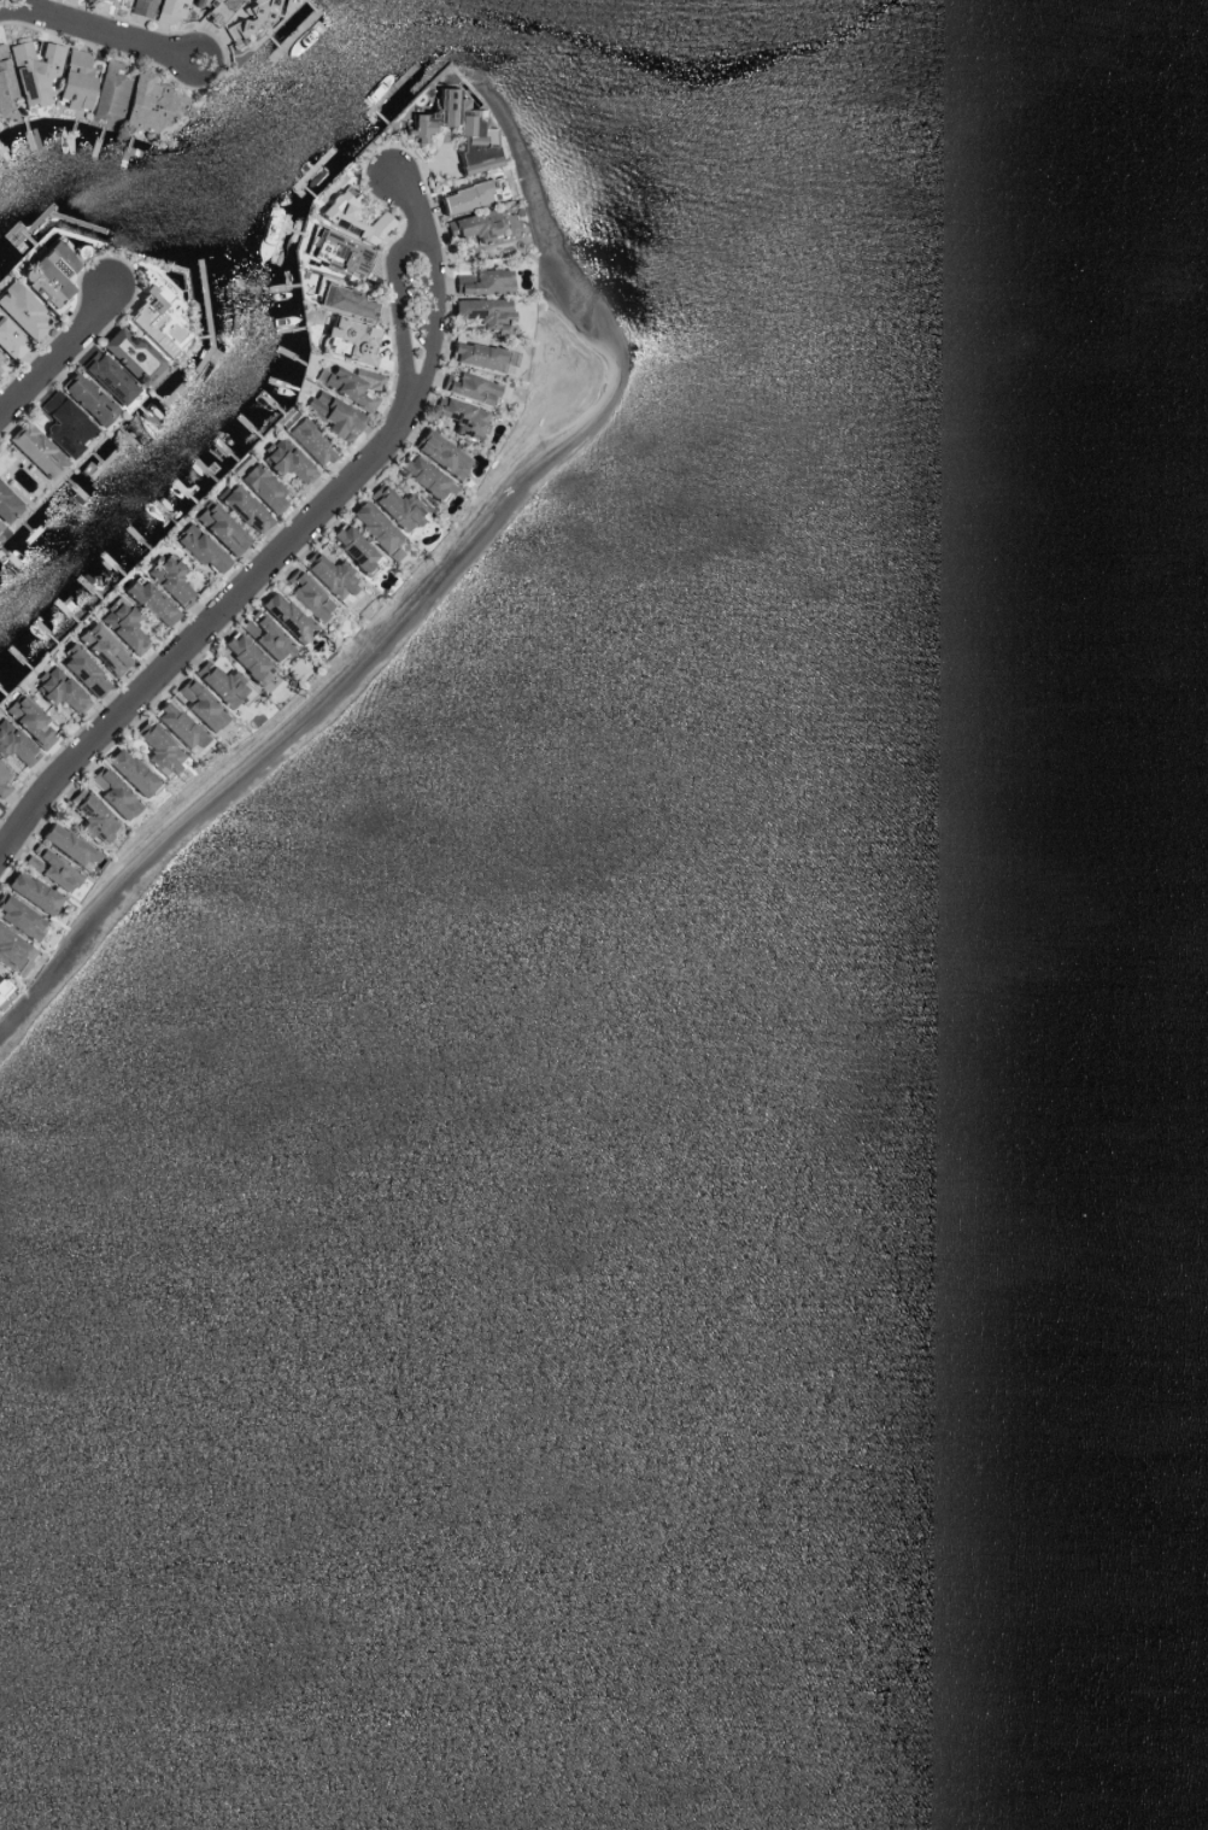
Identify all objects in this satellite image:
building: (111, 0)
building: (140, 7)
building: (213, 7)
building: (169, 10)
road: (101, 29)
building: (33, 70)
building: (72, 78)
building: (4, 86)
building: (105, 90)
building: (149, 102)
building: (468, 125)
building: (469, 193)
building: (332, 213)
building: (473, 225)
building: (335, 252)
building: (46, 272)
building: (482, 281)
building: (344, 300)
building: (20, 310)
building: (481, 310)
building: (153, 315)
building: (347, 339)
building: (8, 341)
building: (128, 354)
building: (0, 356)
road: (60, 358)
building: (105, 377)
building: (351, 385)
building: (468, 386)
building: (84, 398)
building: (332, 413)
building: (461, 416)
building: (63, 423)
building: (306, 441)
building: (33, 448)
building: (439, 452)
building: (285, 461)
building: (421, 475)
building: (259, 486)
building: (6, 505)
building: (395, 506)
building: (241, 508)
building: (370, 524)
building: (218, 528)
building: (197, 546)
building: (350, 546)
road: (292, 547)
building: (329, 576)
building: (166, 577)
building: (305, 594)
building: (148, 602)
building: (283, 616)
building: (121, 624)
building: (260, 635)
building: (100, 647)
building: (242, 656)
building: (80, 669)
building: (218, 682)
building: (57, 690)
building: (199, 705)
building: (27, 721)
building: (175, 725)
building: (13, 744)
building: (157, 749)
building: (127, 772)
building: (2, 784)
building: (111, 792)
building: (89, 816)
building: (65, 845)
building: (28, 891)
building: (19, 917)
building: (12, 951)
building: (1, 989)

